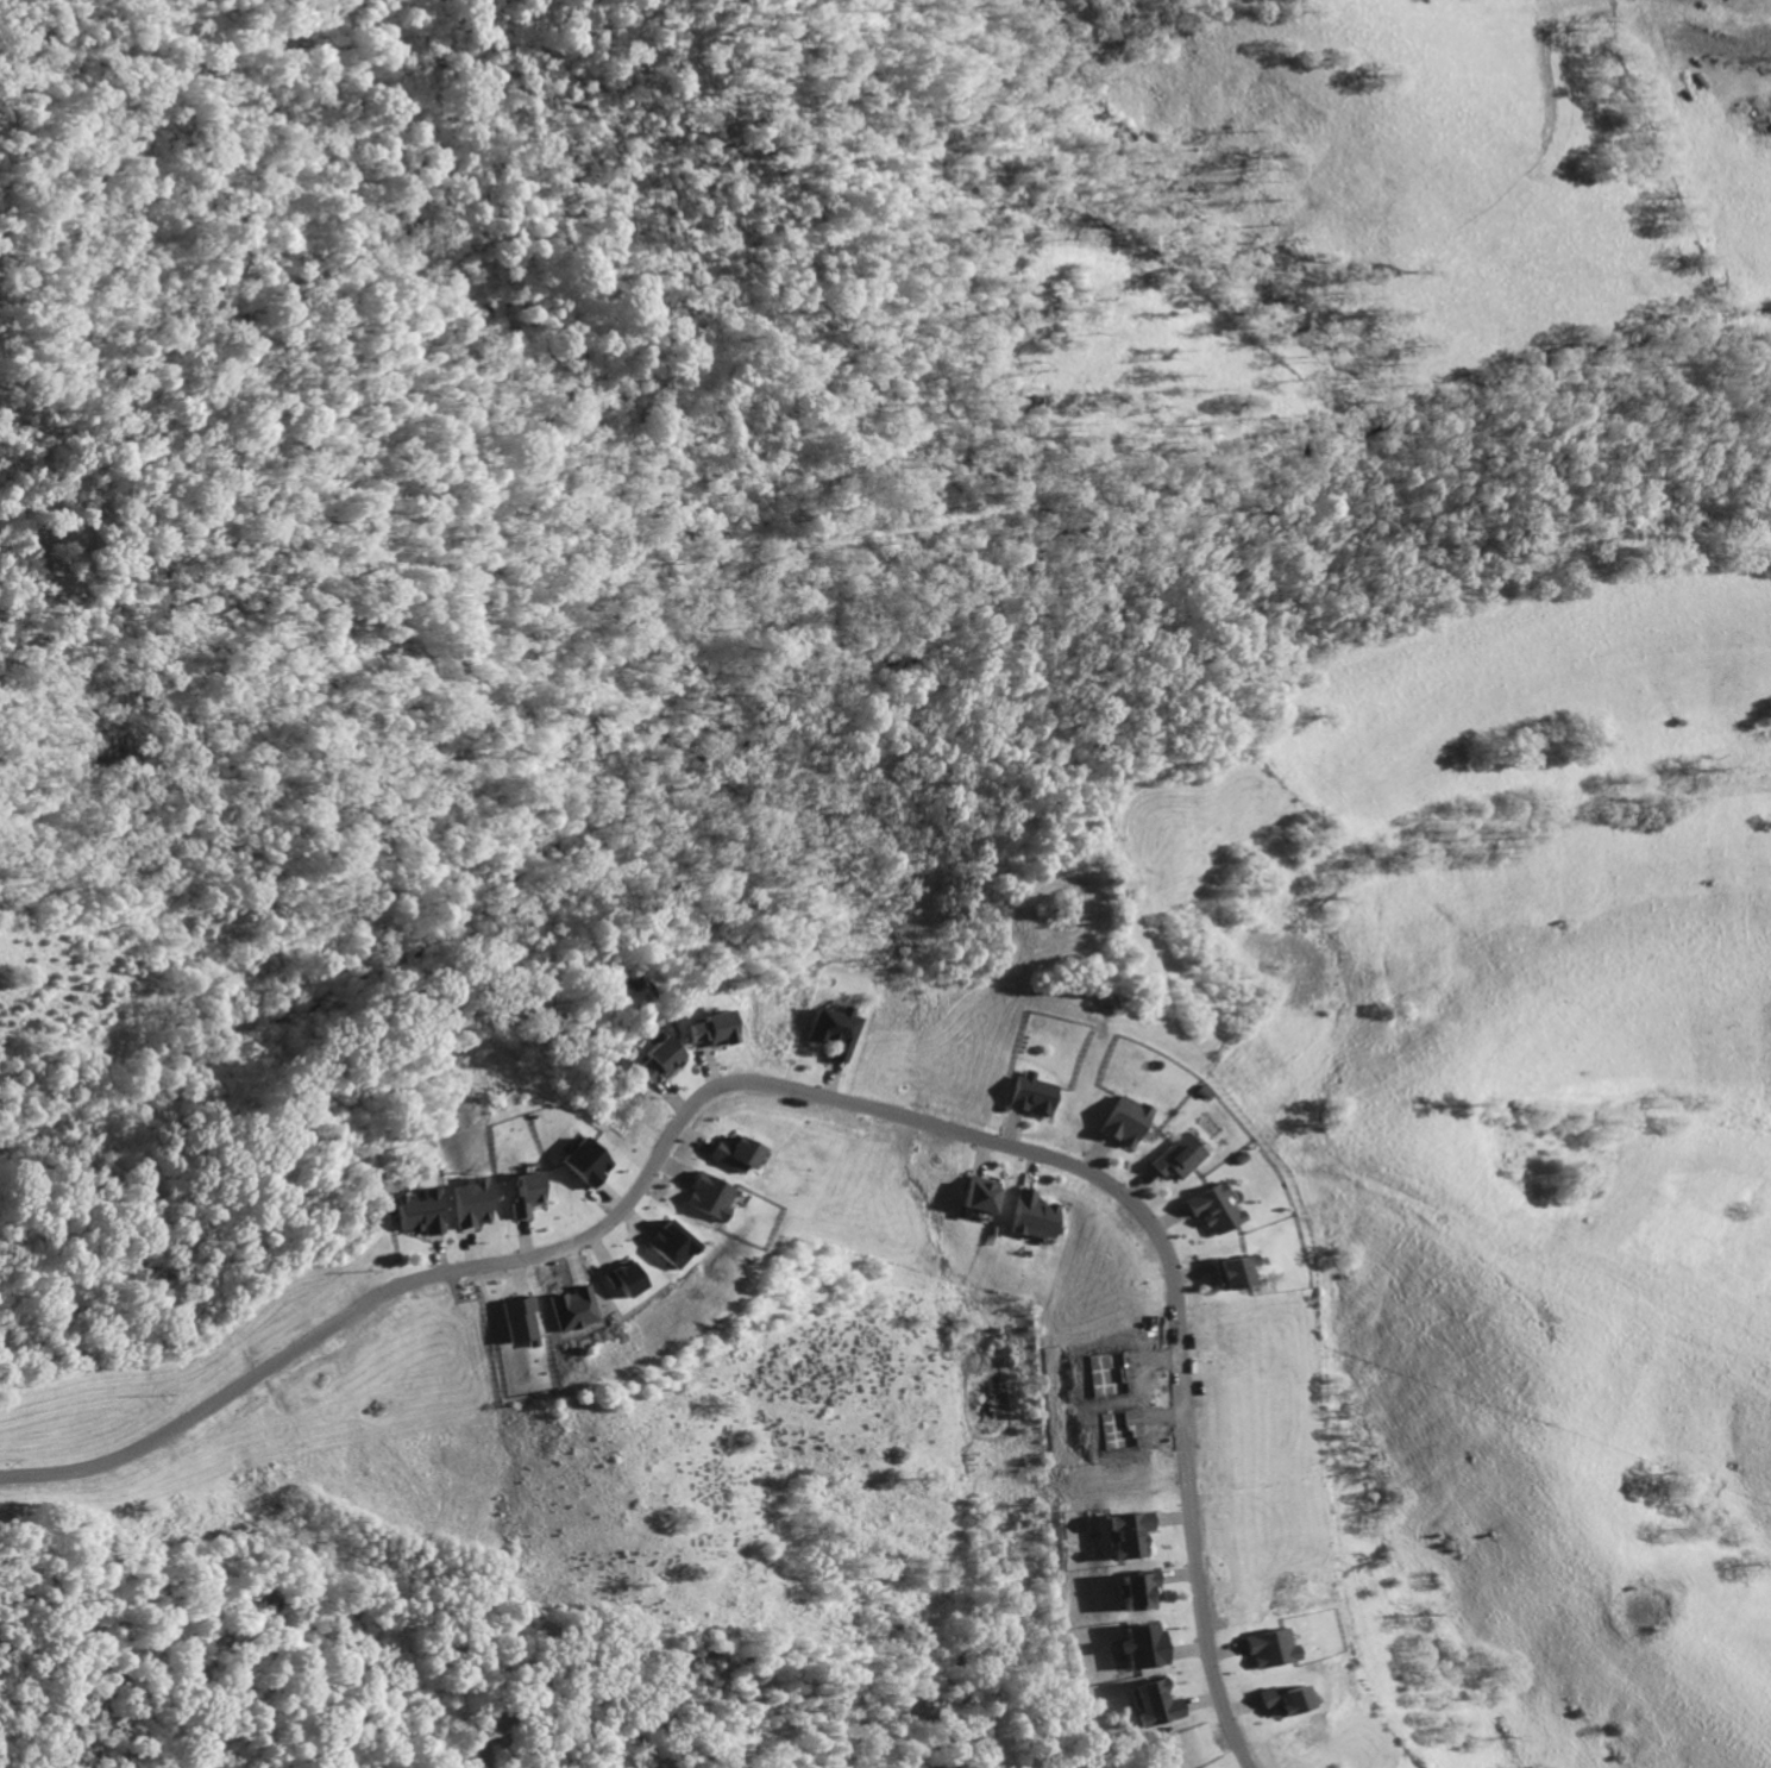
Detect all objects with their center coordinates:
building: (829, 1028)
building: (708, 1029)
building: (658, 1060)
building: (1031, 1092)
road: (802, 1093)
building: (1126, 1122)
building: (734, 1154)
building: (1177, 1158)
building: (582, 1164)
building: (522, 1193)
building: (979, 1196)
building: (710, 1197)
building: (466, 1204)
building: (1211, 1210)
building: (419, 1214)
building: (1032, 1216)
building: (673, 1245)
building: (1225, 1273)
building: (519, 1321)
building: (1129, 1535)
building: (1136, 1591)
building: (1144, 1642)
building: (1264, 1649)
building: (1279, 1700)
building: (1156, 1703)

